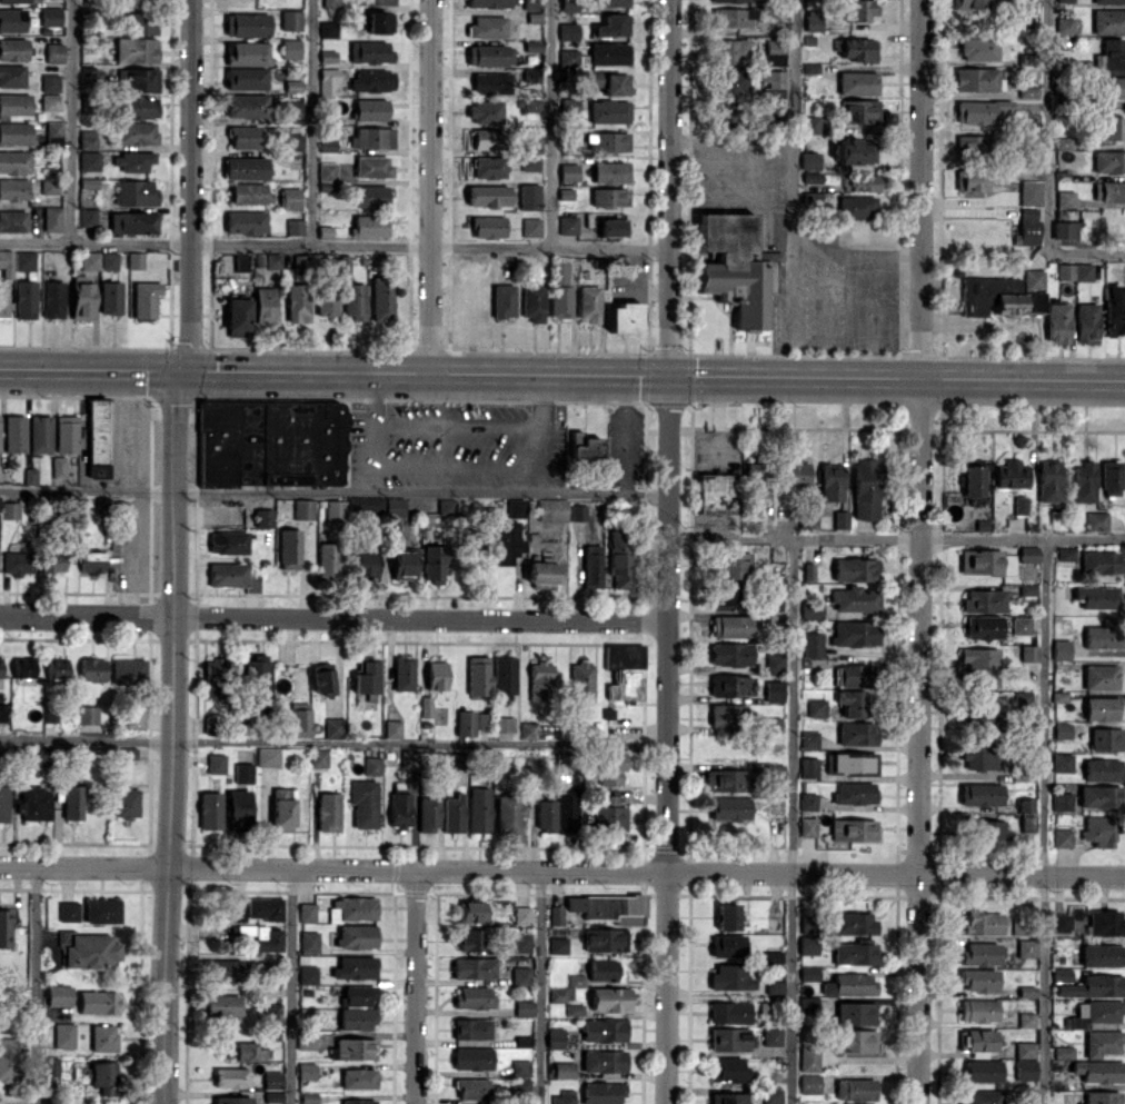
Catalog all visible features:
building: (17, 0)
building: (728, 0)
building: (1064, 0)
building: (376, 1)
building: (1107, 1)
building: (135, 2)
building: (330, 3)
building: (487, 3)
building: (609, 3)
building: (967, 3)
building: (530, 4)
building: (567, 6)
building: (860, 10)
building: (49, 16)
building: (731, 17)
building: (11, 19)
building: (289, 19)
building: (812, 20)
building: (1107, 21)
building: (137, 22)
building: (379, 22)
building: (246, 24)
building: (613, 24)
building: (1063, 24)
building: (487, 27)
building: (327, 29)
building: (567, 31)
building: (289, 48)
building: (854, 48)
building: (978, 48)
building: (12, 49)
building: (731, 50)
building: (769, 51)
building: (53, 52)
building: (369, 52)
building: (246, 53)
building: (608, 53)
building: (1109, 53)
building: (489, 54)
building: (568, 59)
building: (11, 76)
building: (245, 78)
building: (974, 79)
building: (138, 80)
building: (371, 80)
building: (48, 82)
building: (488, 82)
building: (608, 82)
building: (728, 82)
building: (771, 82)
building: (856, 82)
building: (1113, 87)
building: (49, 102)
building: (13, 105)
building: (246, 105)
building: (530, 105)
building: (568, 105)
building: (136, 106)
building: (369, 109)
building: (485, 111)
building: (608, 111)
building: (859, 111)
building: (729, 115)
road: (70, 121)
road: (310, 122)
road: (549, 123)
building: (809, 123)
road: (1045, 127)
building: (1112, 127)
building: (52, 128)
building: (14, 132)
building: (136, 132)
building: (242, 137)
building: (370, 137)
building: (87, 139)
building: (486, 139)
building: (292, 141)
building: (608, 141)
road: (731, 141)
building: (1061, 142)
building: (973, 143)
building: (532, 145)
building: (856, 151)
building: (88, 160)
building: (808, 160)
building: (14, 161)
building: (132, 161)
building: (1108, 162)
building: (529, 163)
building: (371, 166)
building: (487, 167)
building: (245, 168)
building: (567, 171)
building: (609, 171)
road: (190, 172)
building: (326, 177)
building: (969, 181)
building: (87, 182)
building: (859, 182)
building: (48, 186)
road: (430, 186)
building: (12, 188)
road: (793, 189)
building: (1108, 190)
building: (135, 192)
building: (1028, 192)
building: (249, 193)
building: (370, 196)
building: (487, 196)
building: (528, 196)
building: (289, 197)
building: (609, 197)
building: (810, 197)
building: (1064, 198)
building: (856, 207)
building: (86, 217)
building: (51, 218)
building: (12, 220)
building: (245, 221)
building: (131, 222)
building: (567, 225)
building: (293, 226)
building: (369, 226)
building: (486, 226)
building: (530, 226)
building: (1027, 226)
building: (613, 227)
building: (1063, 229)
road: (333, 246)
road: (1085, 253)
building: (135, 259)
building: (89, 260)
building: (108, 260)
building: (270, 260)
building: (241, 261)
building: (341, 263)
building: (735, 266)
building: (559, 269)
building: (1073, 271)
building: (1032, 278)
building: (23, 296)
building: (996, 296)
building: (110, 297)
building: (81, 298)
building: (143, 298)
building: (381, 298)
building: (52, 299)
building: (325, 299)
building: (352, 300)
building: (502, 300)
building: (559, 301)
building: (296, 302)
building: (531, 302)
building: (588, 302)
building: (262, 304)
building: (1114, 309)
building: (236, 317)
building: (624, 317)
building: (1085, 321)
building: (1056, 322)
road: (186, 357)
traffic signals: (182, 370)
road: (562, 375)
traffic signals: (670, 377)
road: (178, 386)
road: (541, 402)
road: (451, 425)
road: (371, 432)
building: (13, 434)
building: (39, 434)
building: (64, 434)
building: (97, 437)
building: (272, 442)
building: (584, 446)
building: (794, 471)
building: (1009, 474)
building: (29, 476)
building: (1111, 477)
building: (972, 479)
building: (755, 480)
building: (1047, 480)
building: (829, 481)
building: (1082, 481)
building: (864, 488)
road: (333, 491)
building: (715, 493)
building: (1018, 505)
building: (365, 506)
building: (395, 506)
building: (446, 506)
building: (0, 507)
building: (302, 508)
building: (9, 509)
building: (551, 509)
building: (335, 510)
building: (578, 513)
building: (262, 517)
building: (839, 518)
building: (806, 520)
building: (1095, 520)
road: (896, 536)
building: (228, 541)
building: (506, 541)
building: (290, 548)
road: (668, 551)
road: (919, 551)
building: (1065, 553)
building: (1027, 554)
building: (620, 557)
building: (51, 560)
building: (327, 560)
building: (91, 561)
building: (432, 561)
building: (979, 561)
building: (1099, 561)
building: (17, 563)
building: (362, 563)
building: (402, 565)
building: (731, 565)
building: (593, 566)
building: (854, 569)
building: (807, 570)
building: (227, 574)
building: (541, 574)
building: (1026, 589)
building: (1095, 596)
building: (725, 599)
building: (854, 599)
building: (983, 600)
building: (809, 608)
road: (333, 617)
building: (730, 625)
building: (1019, 625)
building: (982, 626)
building: (854, 633)
building: (1102, 635)
building: (810, 644)
building: (1059, 649)
building: (1027, 653)
building: (729, 654)
building: (626, 658)
building: (774, 660)
building: (978, 666)
building: (22, 667)
building: (56, 667)
building: (91, 669)
building: (128, 670)
building: (404, 674)
building: (852, 674)
building: (215, 675)
building: (256, 675)
building: (436, 675)
building: (478, 675)
building: (366, 676)
building: (1098, 676)
building: (322, 678)
building: (504, 678)
building: (540, 680)
building: (581, 682)
building: (626, 684)
building: (730, 685)
building: (281, 686)
building: (773, 690)
building: (850, 703)
building: (815, 707)
building: (1099, 708)
building: (979, 709)
building: (726, 713)
building: (87, 714)
building: (135, 716)
building: (299, 722)
building: (465, 723)
building: (502, 724)
building: (771, 724)
building: (333, 727)
building: (391, 728)
building: (528, 729)
building: (1061, 730)
building: (856, 733)
building: (808, 738)
building: (1105, 738)
road: (333, 740)
road: (171, 753)
building: (977, 753)
building: (267, 756)
building: (318, 757)
building: (408, 757)
building: (850, 762)
building: (1062, 762)
building: (216, 763)
building: (371, 766)
building: (610, 767)
building: (807, 767)
building: (1102, 769)
building: (242, 772)
building: (773, 772)
building: (726, 779)
building: (854, 793)
building: (980, 794)
building: (1099, 796)
building: (807, 800)
building: (1061, 800)
building: (3, 802)
building: (72, 802)
building: (364, 802)
building: (32, 803)
building: (126, 803)
building: (1025, 804)
building: (567, 805)
building: (238, 808)
building: (399, 808)
building: (729, 808)
building: (209, 809)
building: (478, 809)
building: (328, 812)
building: (428, 812)
building: (454, 813)
building: (508, 813)
building: (282, 814)
building: (545, 815)
building: (610, 817)
road: (792, 819)
road: (1043, 820)
building: (1026, 823)
building: (807, 826)
building: (852, 829)
building: (988, 829)
building: (1099, 831)
building: (1062, 837)
road: (561, 871)
building: (263, 907)
building: (607, 907)
building: (356, 908)
building: (68, 911)
building: (101, 911)
building: (471, 911)
building: (236, 912)
building: (306, 912)
building: (555, 915)
building: (1071, 915)
building: (726, 916)
building: (980, 922)
building: (853, 923)
building: (1105, 923)
building: (6, 925)
building: (356, 936)
building: (266, 938)
building: (471, 939)
building: (604, 939)
building: (308, 942)
building: (520, 942)
building: (557, 945)
building: (727, 945)
building: (807, 945)
building: (90, 951)
building: (853, 953)
building: (979, 953)
building: (1102, 954)
building: (771, 957)
building: (355, 967)
building: (474, 967)
building: (225, 969)
building: (601, 969)
building: (808, 973)
building: (1061, 973)
building: (307, 974)
building: (520, 974)
building: (729, 977)
building: (575, 979)
building: (978, 979)
building: (848, 984)
road: (36, 985)
building: (1093, 985)
road: (291, 986)
building: (774, 986)
road: (415, 987)
road: (538, 987)
building: (559, 994)
building: (58, 995)
building: (357, 995)
building: (472, 996)
building: (609, 998)
building: (97, 1001)
building: (221, 1005)
building: (524, 1008)
building: (574, 1009)
building: (977, 1009)
building: (728, 1012)
building: (1095, 1012)
building: (854, 1013)
building: (270, 1016)
building: (357, 1018)
building: (1025, 1020)
building: (471, 1028)
building: (604, 1030)
building: (63, 1035)
building: (770, 1035)
building: (102, 1037)
building: (555, 1037)
building: (728, 1038)
building: (854, 1040)
building: (976, 1040)
building: (306, 1041)
building: (1102, 1042)
building: (355, 1048)
building: (1024, 1050)
building: (247, 1051)
building: (808, 1057)
building: (8, 1058)
building: (471, 1058)
building: (603, 1061)
building: (50, 1065)
building: (520, 1067)
building: (564, 1068)
building: (727, 1068)
building: (1024, 1068)
building: (306, 1070)
building: (979, 1070)
building: (1098, 1071)
building: (102, 1076)
building: (229, 1077)
building: (358, 1077)
building: (271, 1080)
building: (808, 1083)
building: (520, 1086)
building: (471, 1088)
building: (854, 1088)
building: (601, 1092)
building: (272, 1096)
building: (562, 1096)
building: (771, 1096)
building: (978, 1096)
building: (308, 1097)
building: (727, 1097)
building: (1101, 1097)
building: (231, 1100)
building: (358, 1101)
building: (863, 1103)

